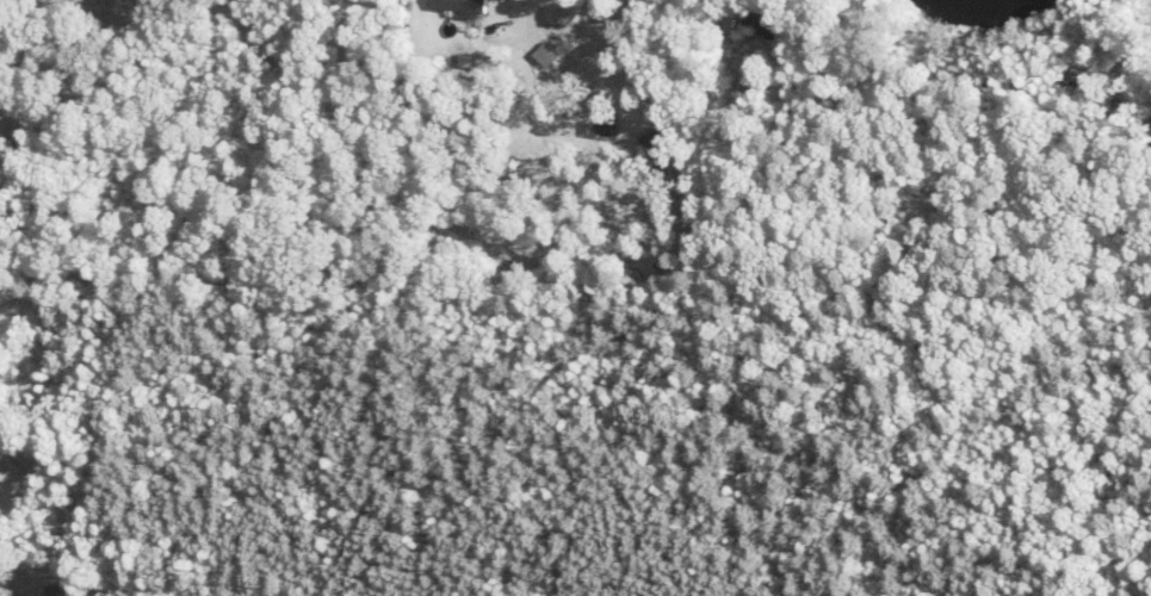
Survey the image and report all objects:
building: (459, 5)

